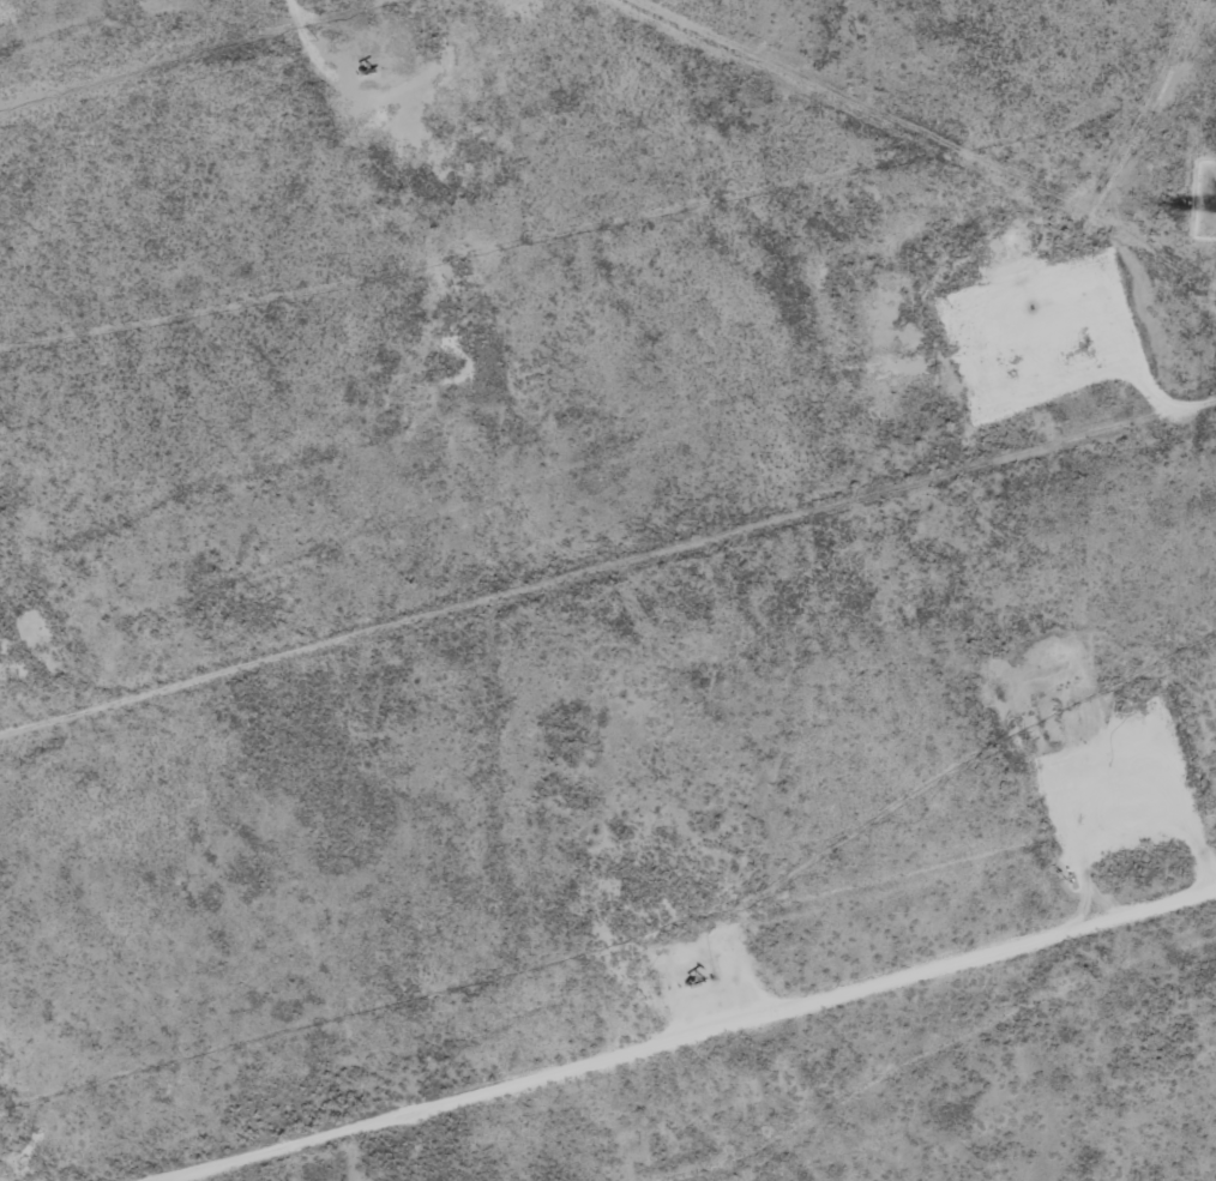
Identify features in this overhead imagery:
road: (790, 1063)

